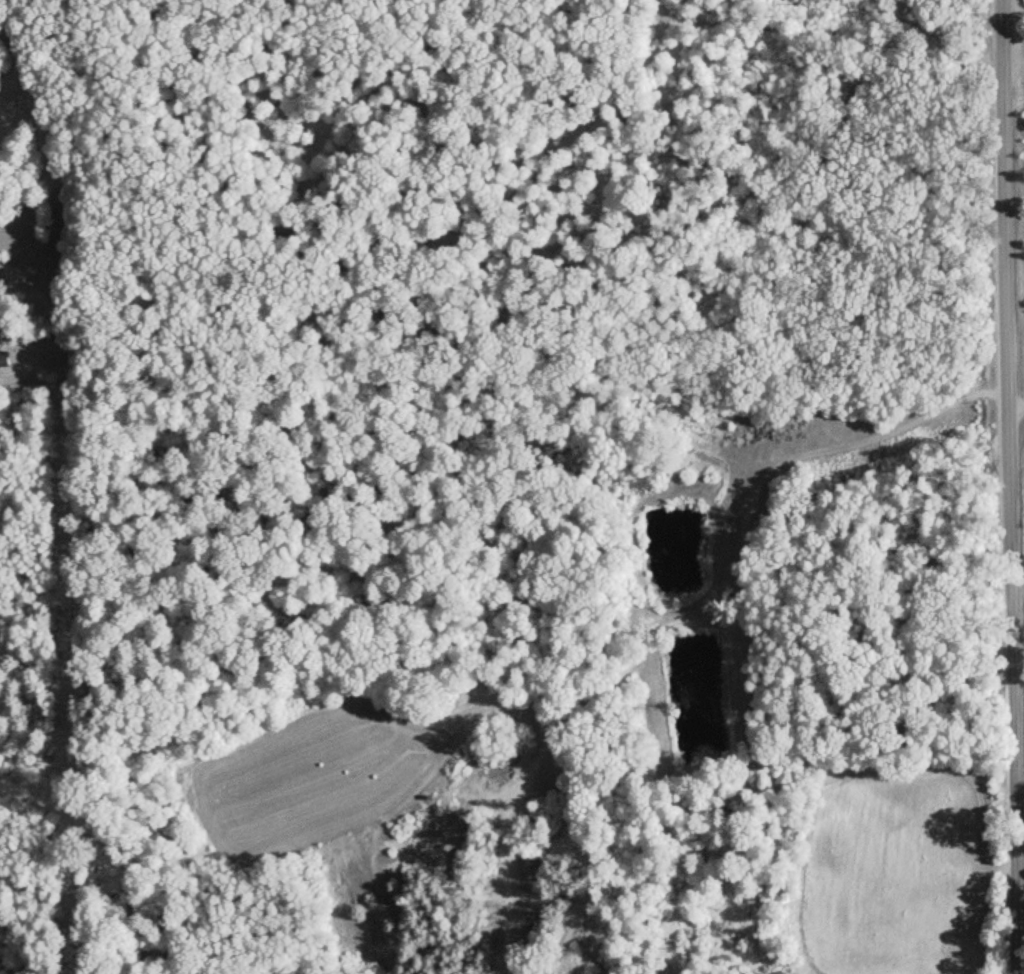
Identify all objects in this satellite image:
road: (9, 38)
road: (1014, 411)
road: (1006, 486)
road: (765, 566)
road: (1019, 961)

